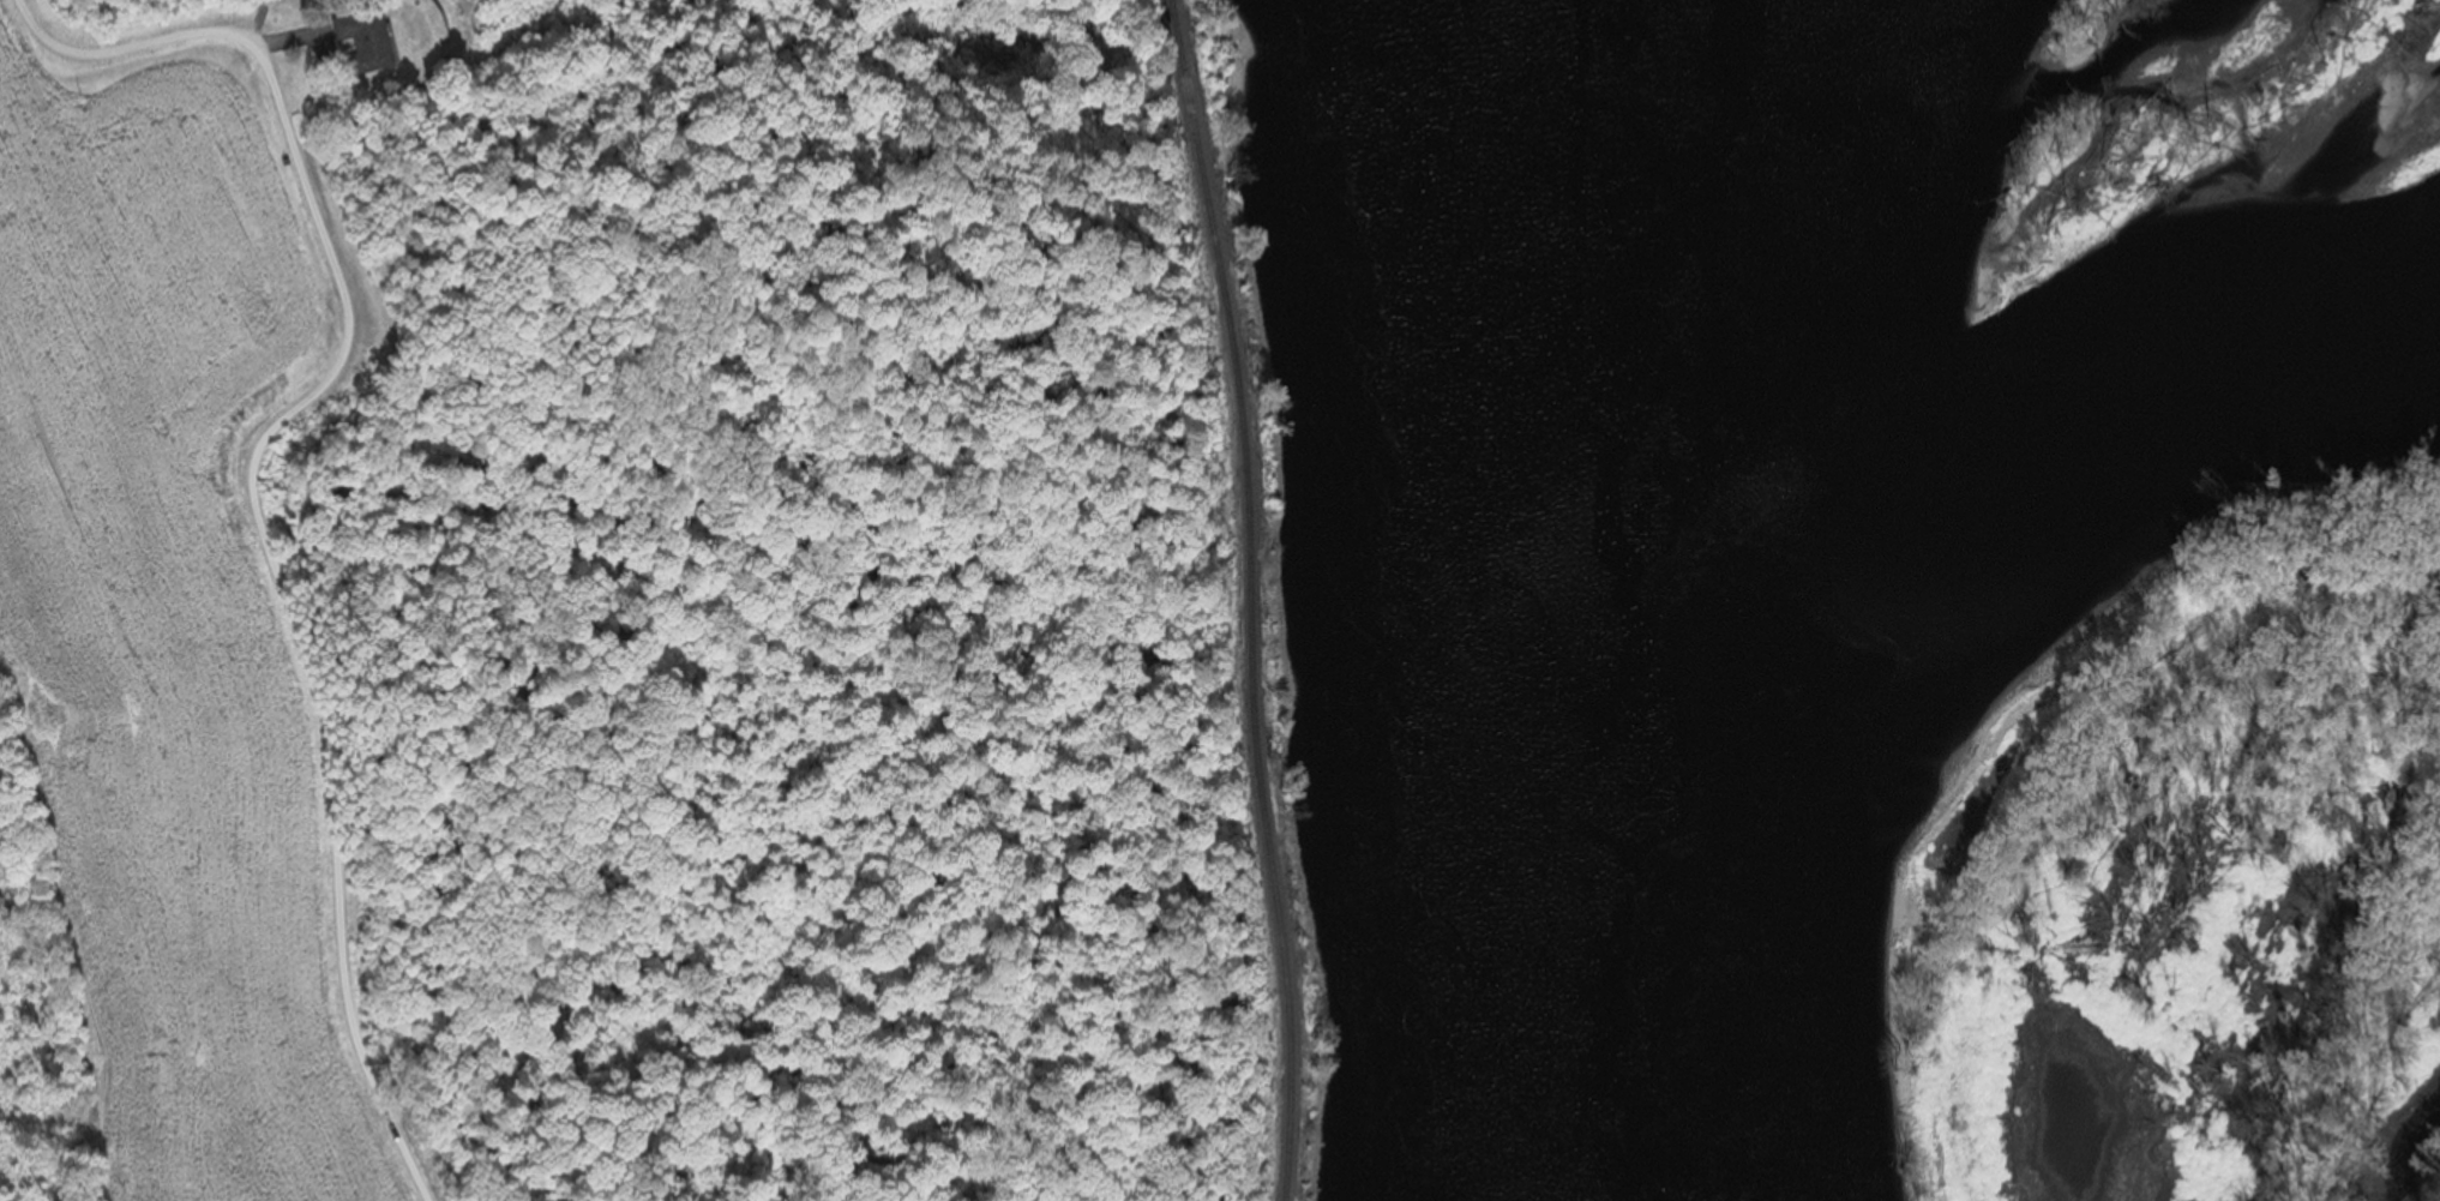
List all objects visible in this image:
building: (363, 41)
river: (2083, 457)
road: (250, 479)
railway: (1246, 599)
river: (1594, 599)

